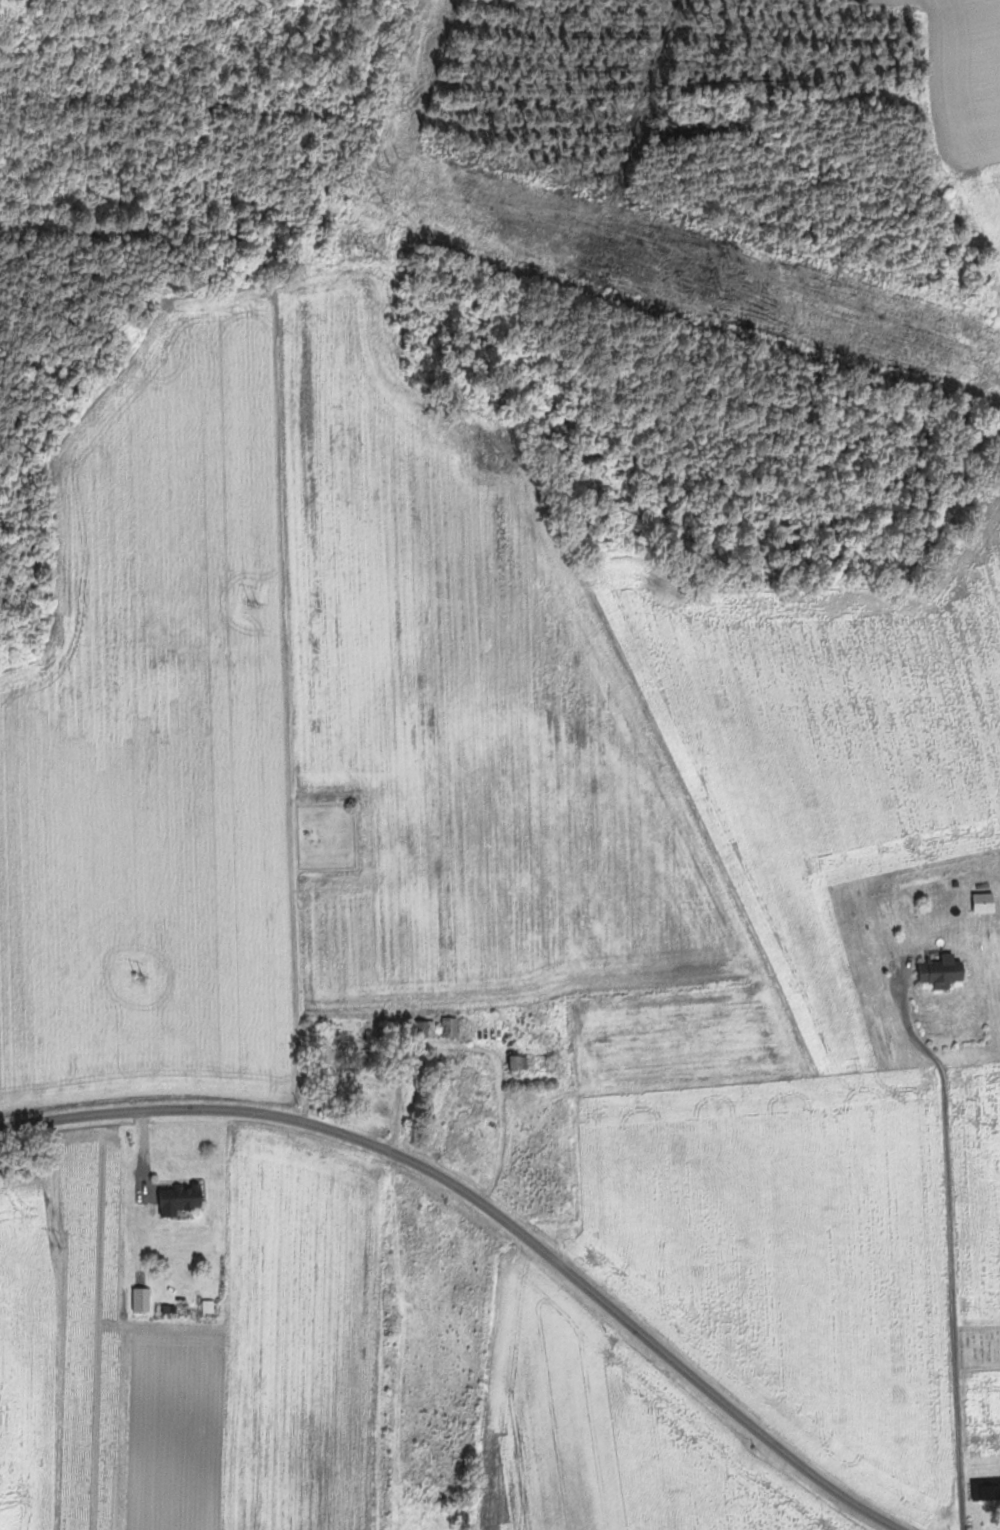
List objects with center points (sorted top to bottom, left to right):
power tower: (390, 164)
power tower: (380, 194)
power tower: (731, 265)
power tower: (724, 294)
power tower: (257, 601)
building: (989, 902)
building: (947, 971)
power tower: (142, 977)
building: (453, 1027)
building: (430, 1029)
building: (346, 1036)
building: (523, 1062)
road: (398, 1095)
building: (184, 1200)
road: (490, 1212)
power tower: (60, 1244)
building: (211, 1306)
road: (940, 1315)
building: (987, 1490)

